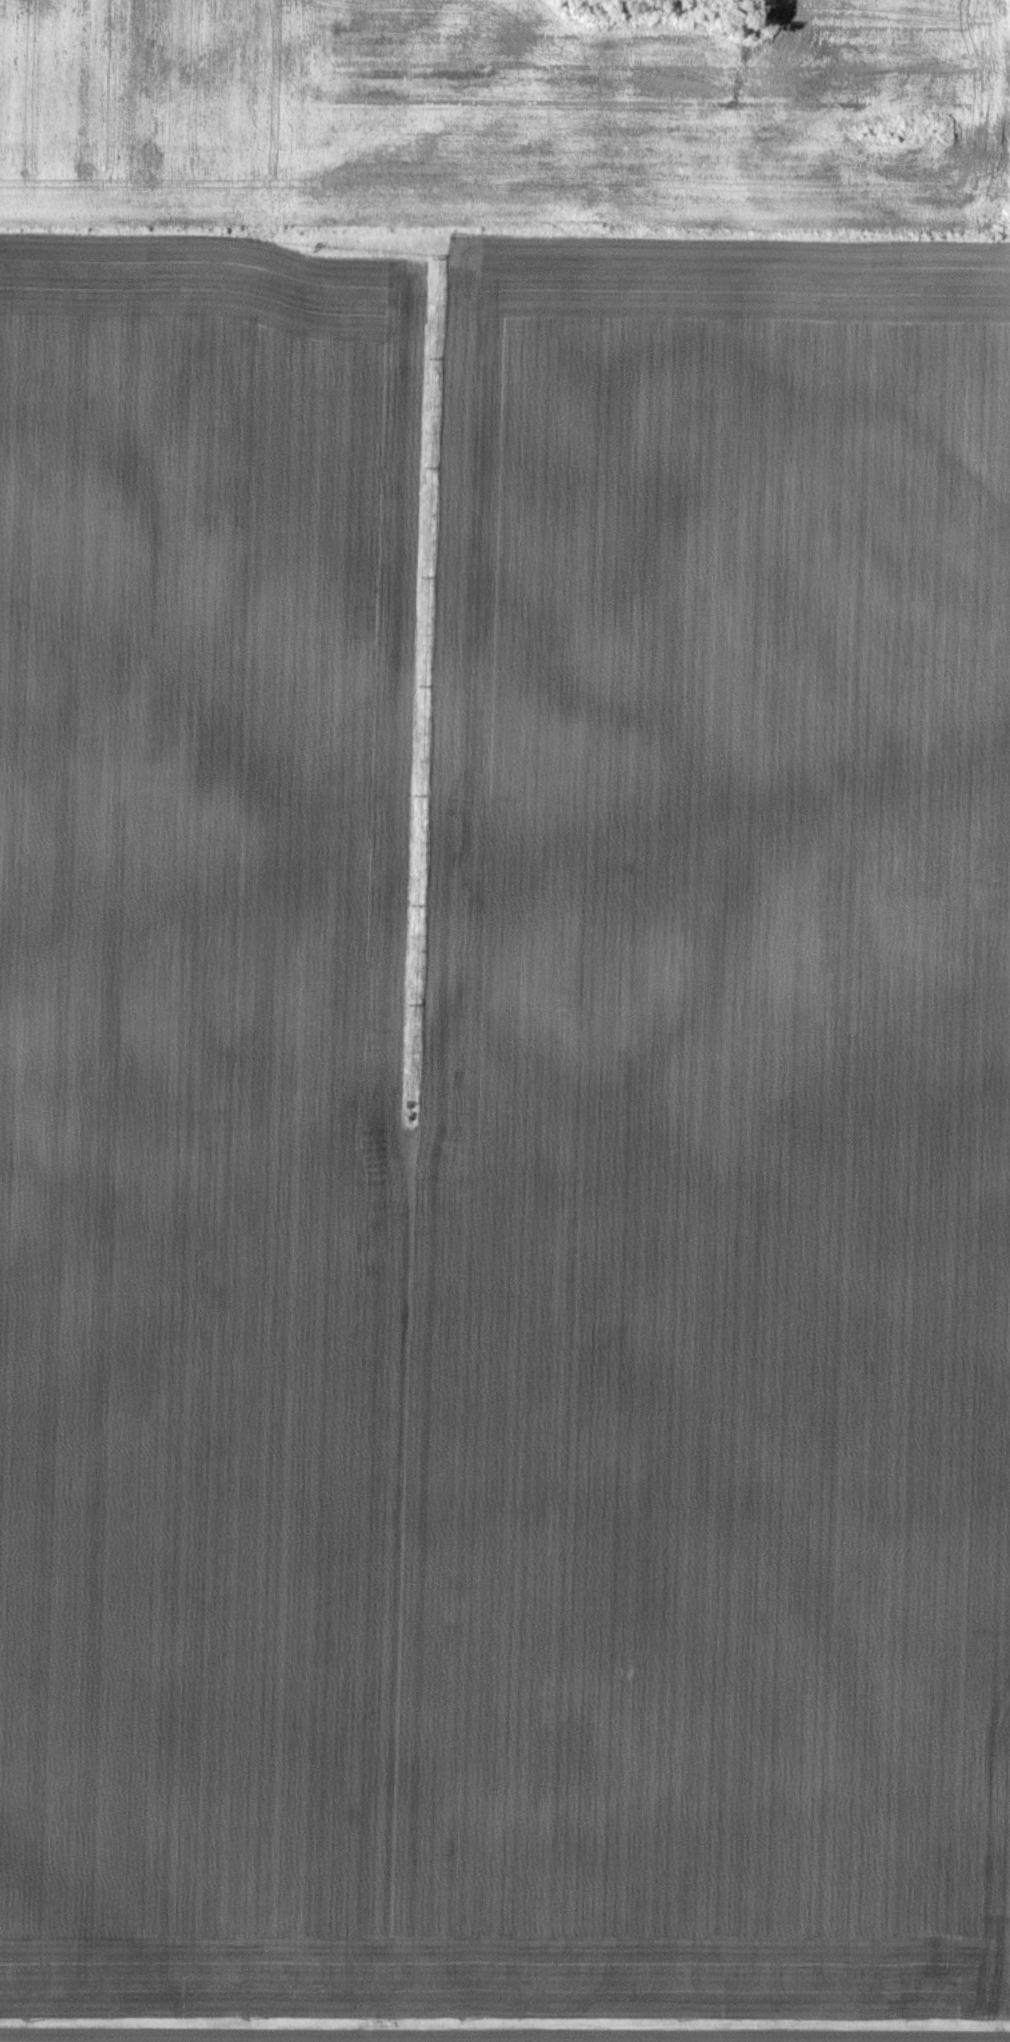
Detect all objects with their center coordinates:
road: (505, 2037)

